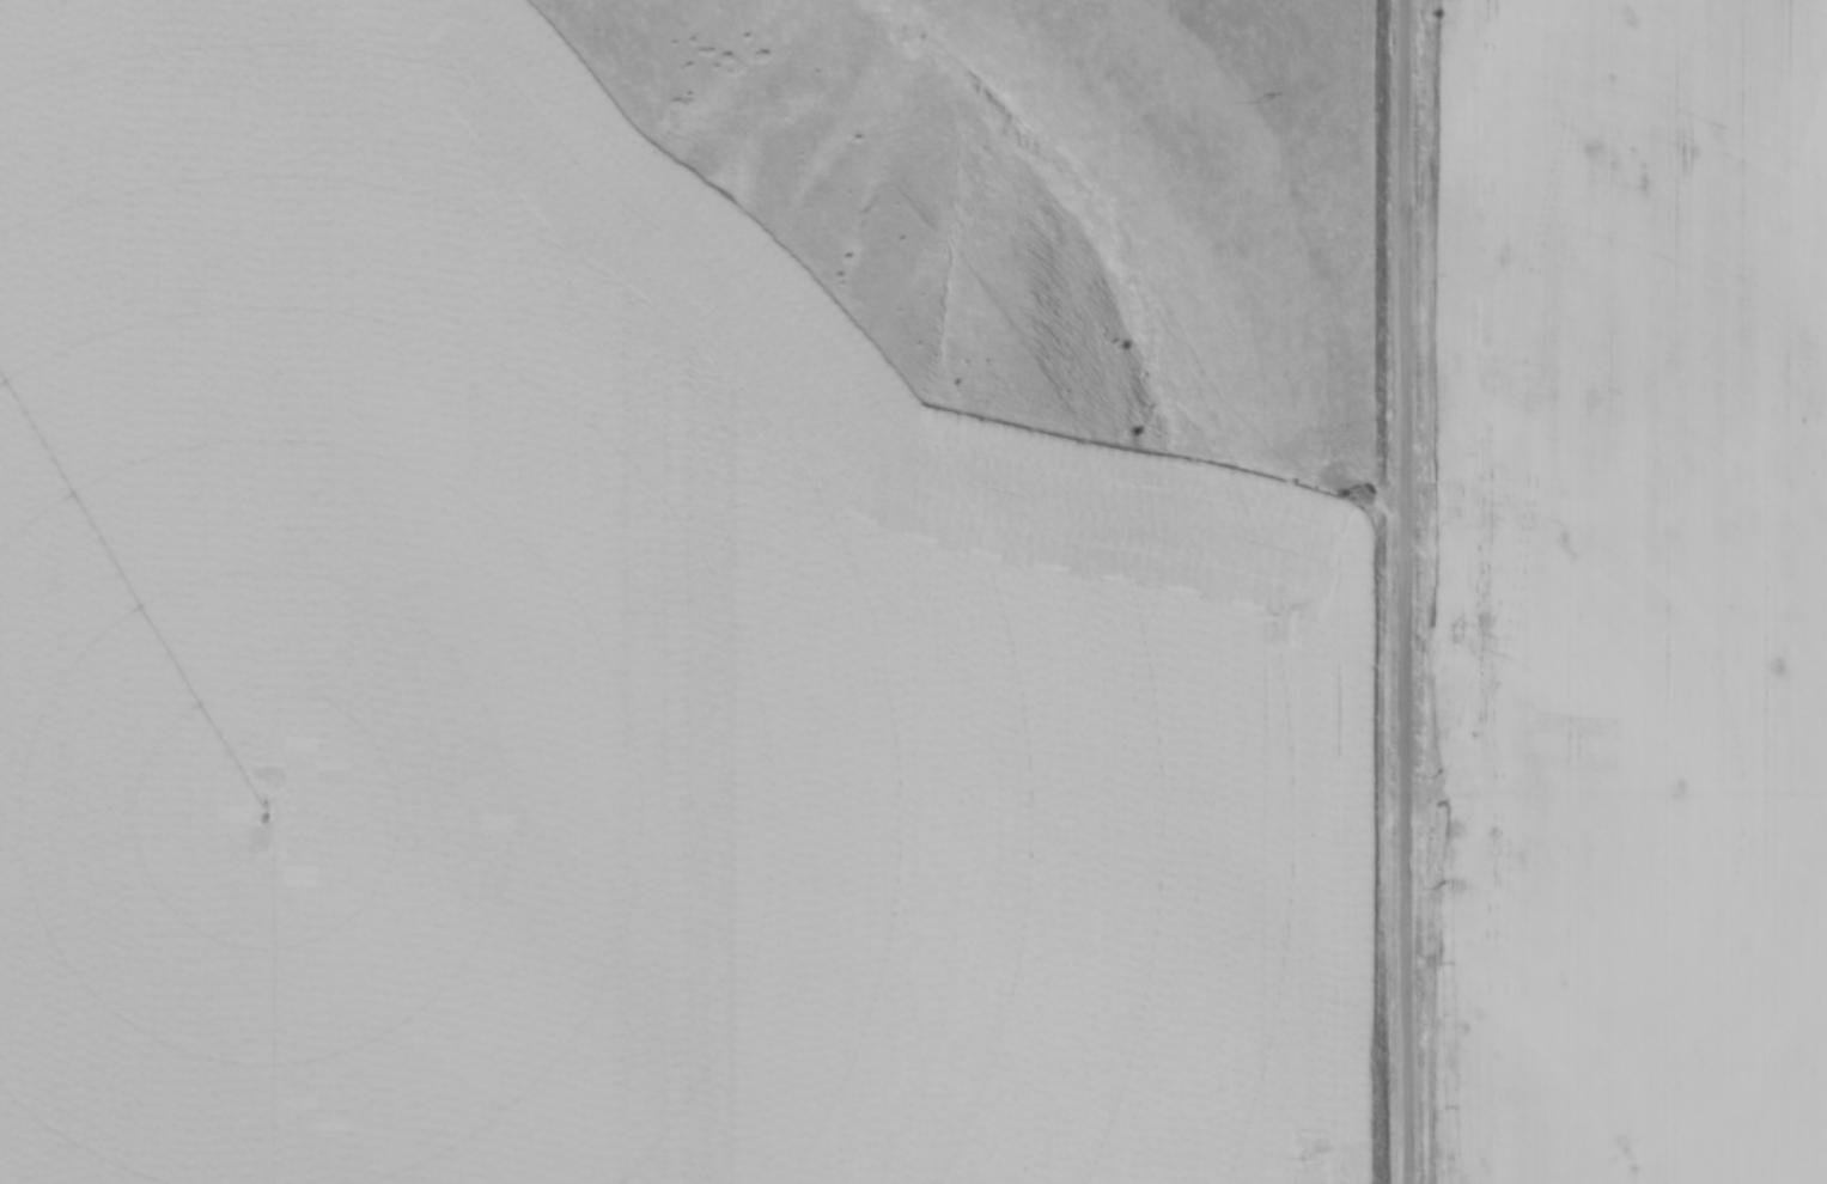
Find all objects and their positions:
power tower: (1262, 100)
road: (1412, 592)
power tower: (1284, 612)
power tower: (1304, 1155)

